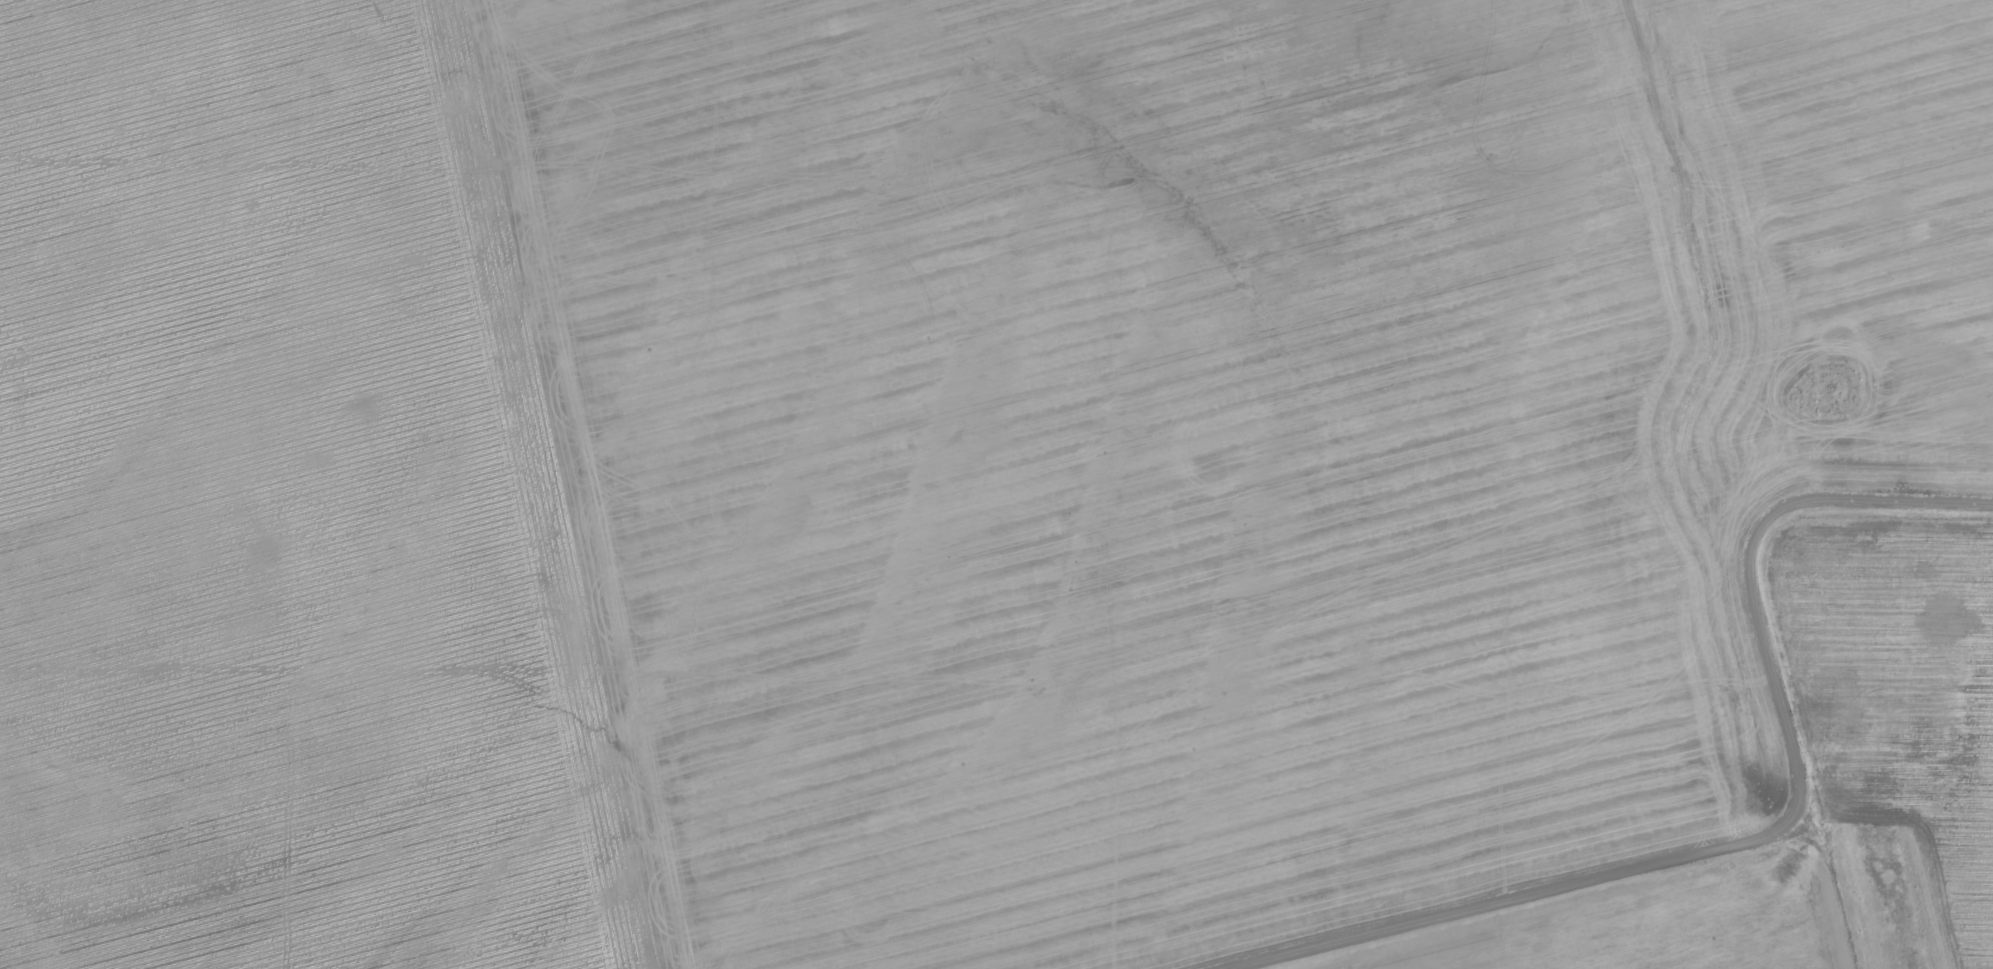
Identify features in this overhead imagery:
road: (1728, 822)

